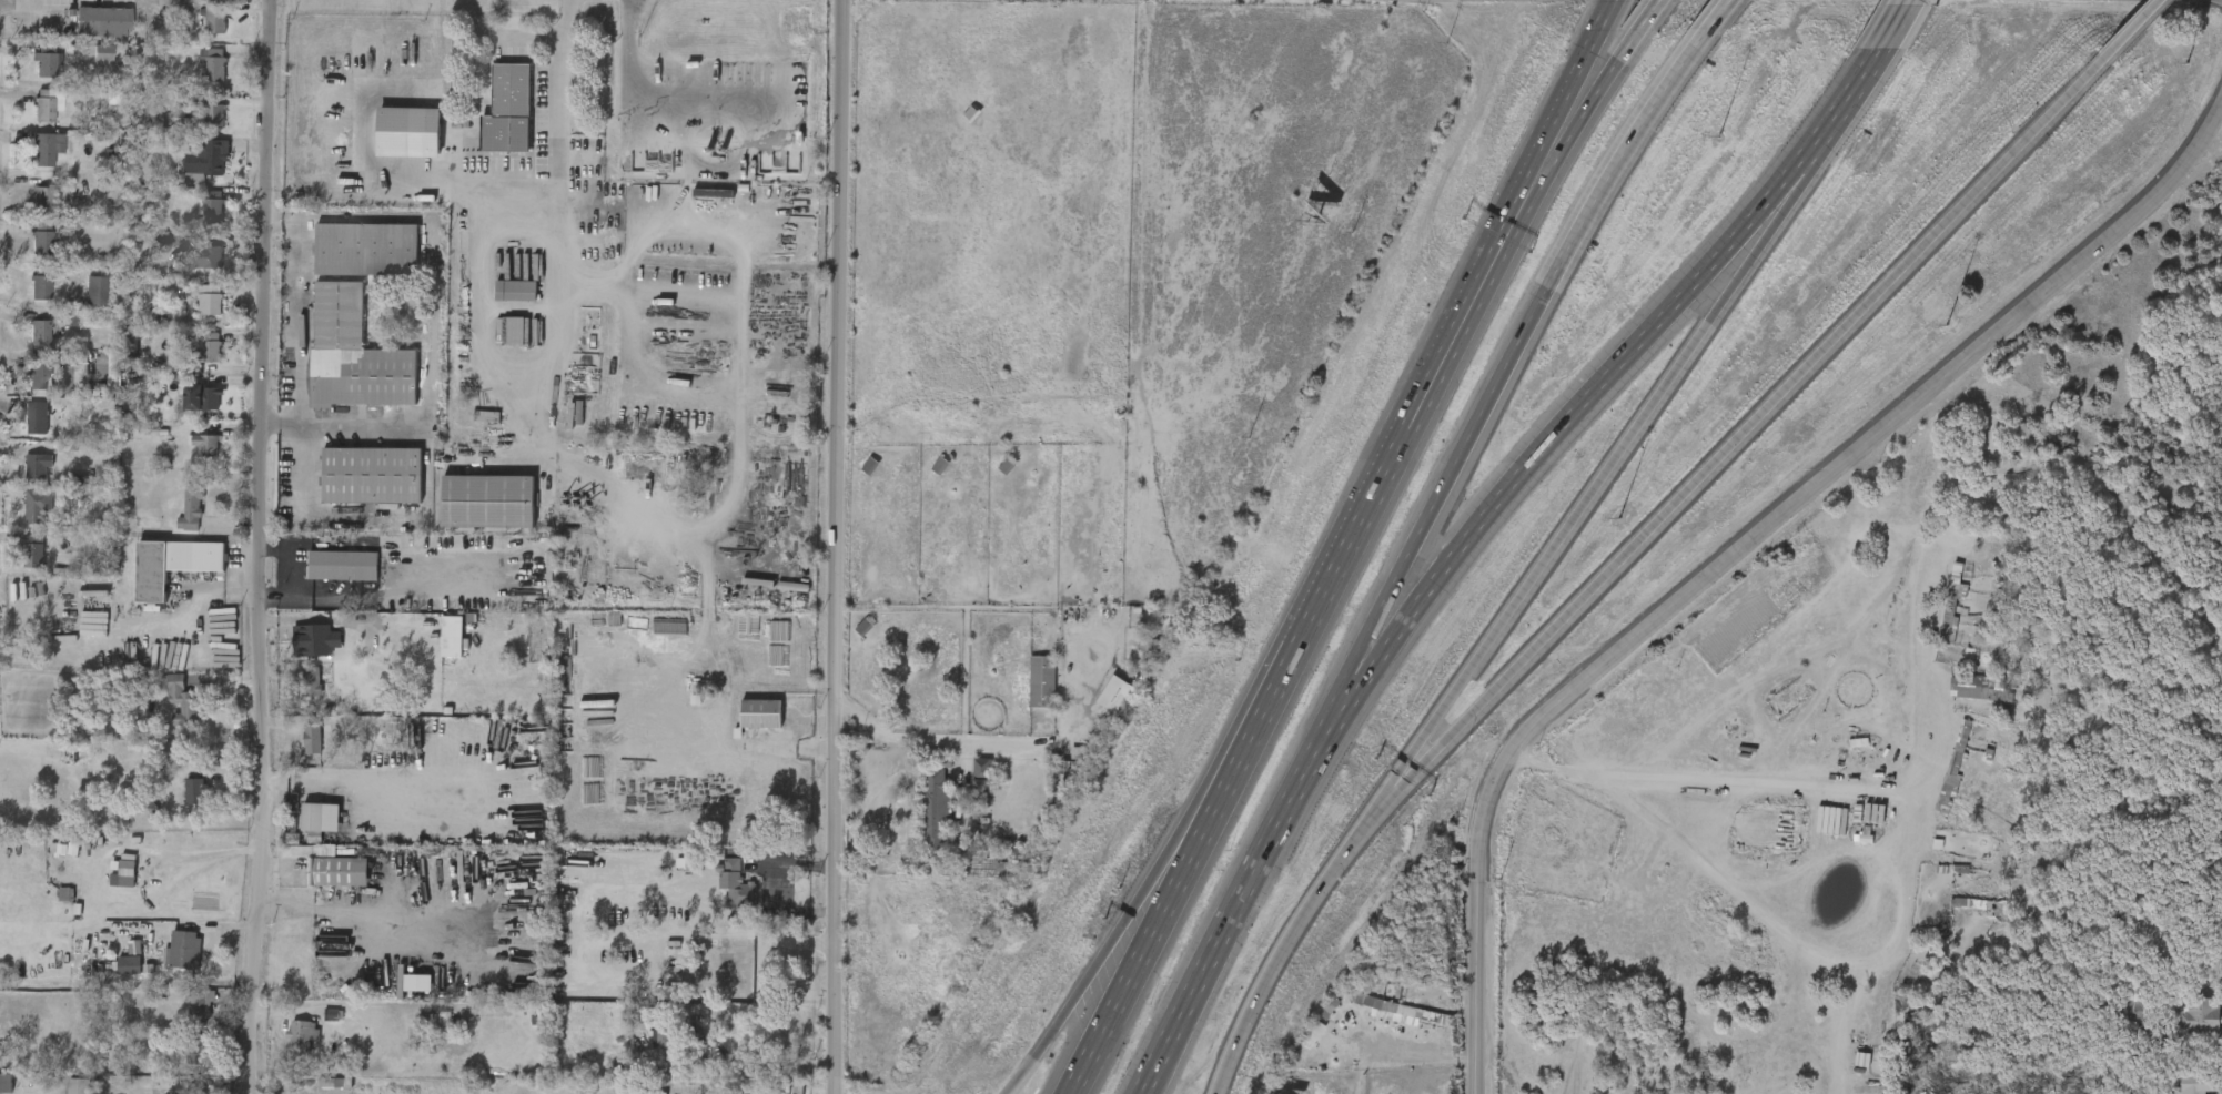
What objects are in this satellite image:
road: (1719, 14)
building: (215, 17)
road: (1599, 22)
road: (1902, 22)
building: (100, 23)
road: (2139, 24)
building: (201, 28)
road: (1636, 32)
building: (102, 53)
building: (88, 63)
building: (44, 65)
building: (214, 68)
building: (33, 75)
building: (200, 75)
road: (1868, 81)
road: (559, 100)
road: (669, 100)
building: (47, 105)
building: (507, 110)
building: (33, 114)
building: (971, 114)
building: (213, 117)
building: (200, 125)
building: (394, 142)
building: (43, 149)
building: (31, 158)
building: (210, 163)
building: (443, 164)
road: (1798, 189)
building: (41, 195)
building: (28, 204)
building: (212, 211)
building: (199, 216)
building: (42, 242)
building: (28, 250)
building: (365, 250)
building: (208, 256)
building: (192, 267)
road: (1469, 280)
road: (1547, 281)
building: (40, 284)
building: (94, 290)
building: (514, 291)
road: (1486, 291)
building: (27, 294)
building: (81, 301)
building: (502, 301)
building: (208, 304)
building: (194, 310)
road: (303, 320)
road: (431, 321)
road: (628, 323)
building: (39, 332)
road: (1640, 338)
building: (499, 341)
building: (26, 343)
building: (210, 347)
road: (492, 351)
building: (353, 355)
building: (196, 358)
building: (38, 373)
building: (23, 391)
road: (1776, 395)
building: (201, 396)
building: (188, 407)
building: (37, 418)
road: (740, 421)
building: (22, 427)
building: (205, 445)
building: (192, 455)
building: (39, 462)
building: (1007, 466)
building: (869, 467)
building: (940, 467)
building: (23, 472)
building: (371, 476)
road: (1587, 494)
building: (488, 502)
building: (38, 505)
building: (191, 509)
building: (23, 515)
road: (317, 515)
building: (176, 520)
road: (835, 523)
road: (1353, 534)
road: (1738, 543)
road: (246, 547)
building: (33, 550)
building: (19, 560)
building: (168, 565)
building: (341, 566)
road: (203, 588)
building: (1942, 620)
building: (863, 628)
building: (406, 638)
building: (311, 640)
building: (370, 641)
building: (437, 646)
building: (1151, 648)
road: (1354, 657)
road: (1869, 657)
road: (1373, 666)
building: (1955, 666)
building: (1042, 682)
building: (313, 683)
building: (375, 683)
building: (1972, 686)
building: (1027, 691)
building: (301, 692)
building: (1115, 697)
building: (1965, 698)
building: (182, 700)
building: (1101, 705)
building: (168, 710)
building: (761, 713)
building: (746, 723)
road: (1232, 729)
road: (929, 738)
building: (314, 739)
building: (297, 748)
road: (799, 748)
road: (1410, 757)
road: (1416, 763)
building: (1955, 764)
building: (1938, 776)
building: (1067, 777)
building: (967, 784)
road: (321, 790)
building: (195, 791)
building: (181, 801)
building: (935, 814)
building: (920, 821)
road: (1208, 822)
building: (299, 831)
road: (1911, 852)
road: (101, 867)
building: (128, 871)
building: (339, 871)
building: (988, 878)
building: (323, 881)
building: (110, 884)
building: (736, 891)
building: (1960, 901)
road: (344, 908)
road: (1223, 931)
road: (1287, 931)
building: (184, 952)
building: (170, 959)
building: (738, 971)
building: (114, 974)
building: (721, 974)
building: (403, 993)
road: (1067, 1004)
building: (2139, 1005)
building: (200, 1007)
building: (2201, 1013)
building: (185, 1016)
building: (367, 1023)
building: (2184, 1026)
road: (1847, 1031)
building: (300, 1034)
building: (287, 1043)
building: (648, 1046)
building: (195, 1054)
building: (182, 1061)
road: (832, 1071)
building: (6, 1083)
building: (2201, 1083)
building: (78, 1086)
building: (63, 1091)
building: (166, 1093)

